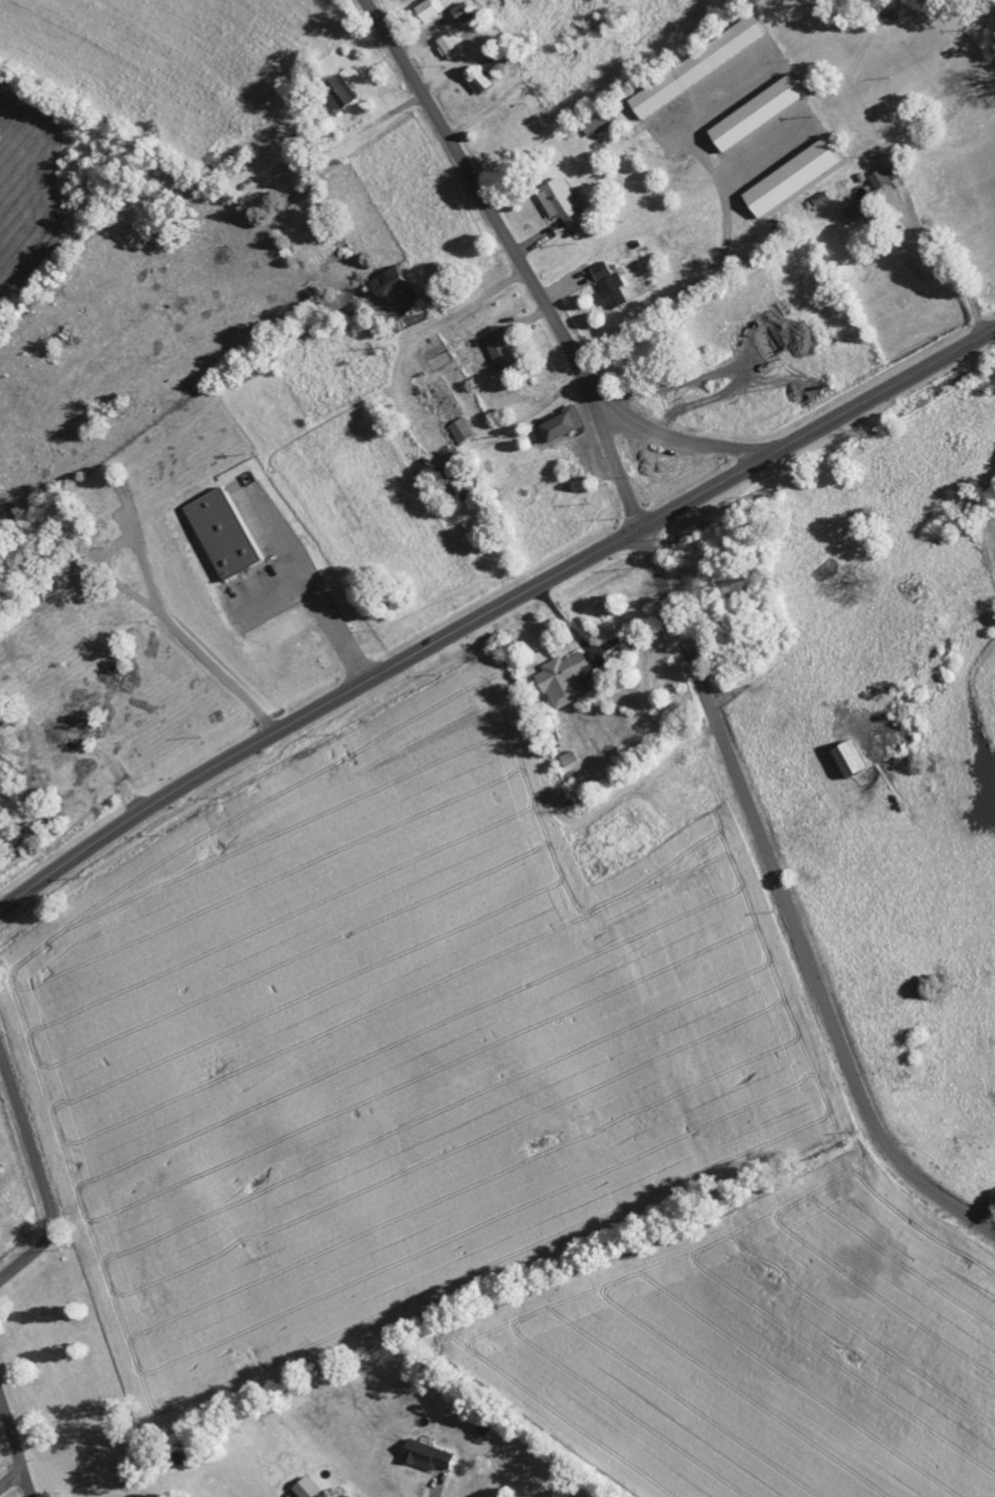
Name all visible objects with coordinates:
building: (432, 10)
building: (451, 47)
building: (698, 67)
building: (484, 79)
building: (341, 93)
building: (758, 114)
building: (885, 174)
building: (793, 179)
building: (563, 203)
building: (859, 213)
road: (519, 256)
building: (394, 284)
building: (611, 286)
building: (502, 349)
building: (562, 428)
building: (464, 431)
road: (670, 435)
building: (574, 462)
building: (224, 535)
building: (740, 587)
road: (492, 610)
building: (566, 679)
building: (569, 759)
building: (852, 759)
road: (786, 903)
road: (39, 1176)
road: (14, 1451)
building: (428, 1456)
building: (306, 1488)
building: (345, 1496)

